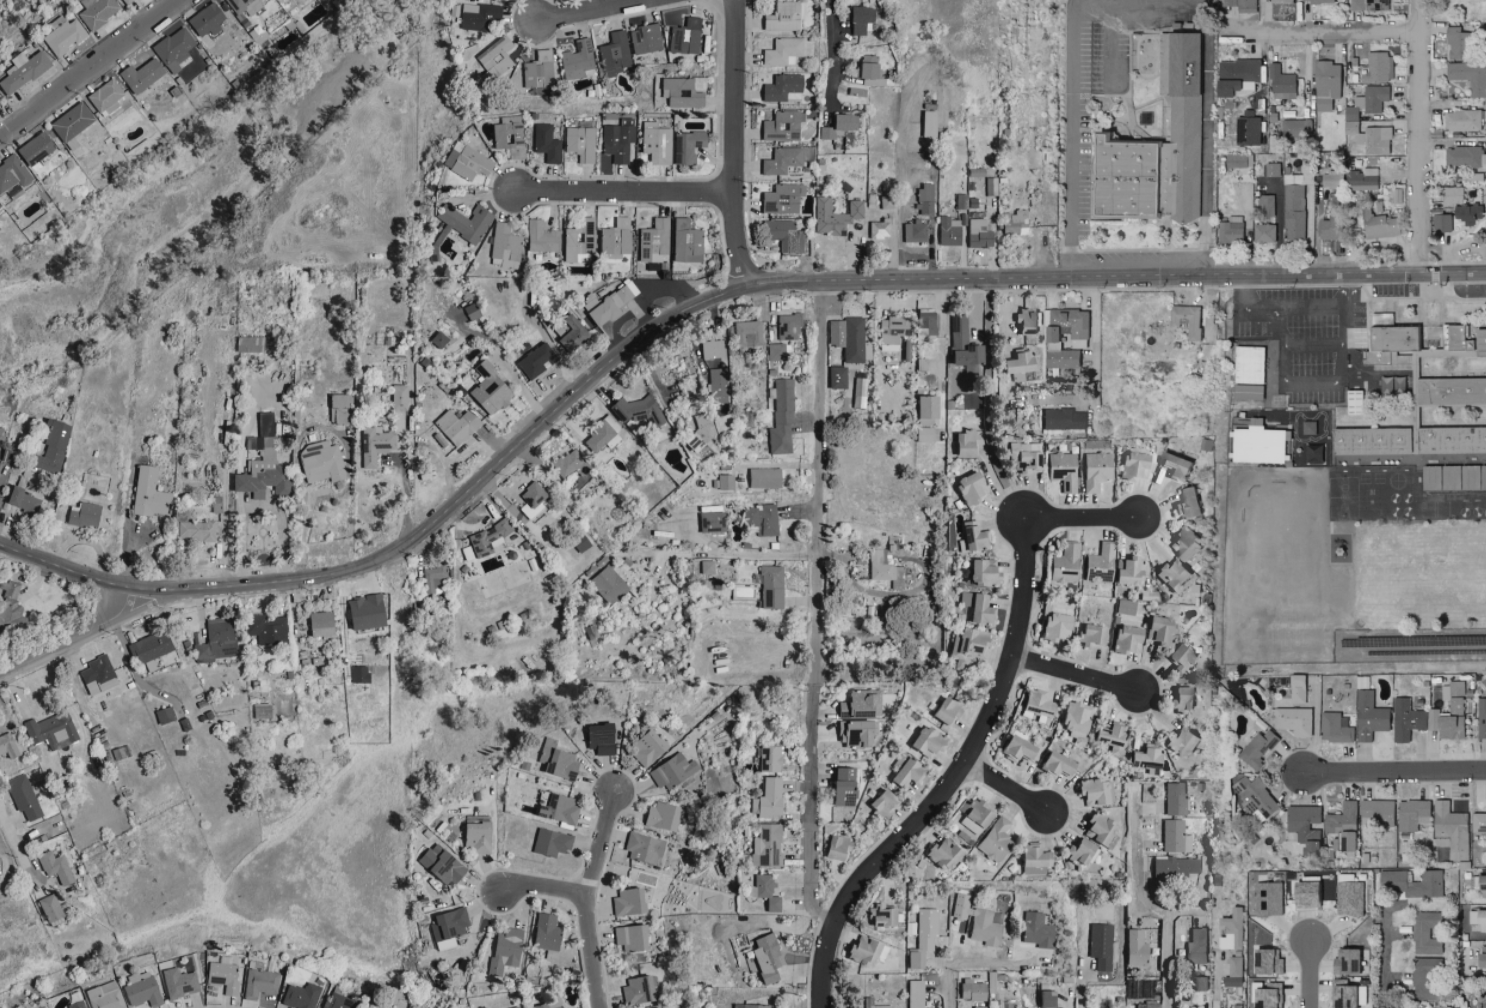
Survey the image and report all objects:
building: (128, 1)
building: (1281, 1)
building: (1317, 1)
building: (1210, 2)
building: (1230, 2)
road: (1077, 3)
building: (239, 4)
road: (1140, 4)
building: (1369, 5)
building: (1246, 6)
building: (98, 12)
road: (593, 12)
building: (782, 16)
building: (481, 17)
building: (859, 18)
building: (207, 20)
road: (1322, 32)
building: (64, 35)
building: (685, 37)
building: (644, 38)
building: (1458, 43)
road: (1111, 48)
building: (175, 50)
building: (782, 51)
building: (614, 52)
road: (831, 57)
building: (495, 59)
building: (576, 59)
building: (866, 65)
road: (89, 66)
building: (1376, 67)
building: (23, 72)
building: (537, 74)
building: (143, 76)
building: (1236, 76)
building: (1469, 76)
building: (696, 82)
building: (1280, 83)
building: (1325, 84)
building: (781, 87)
building: (676, 91)
building: (107, 98)
building: (1367, 102)
building: (1462, 120)
building: (74, 124)
building: (837, 125)
building: (781, 126)
building: (1296, 128)
building: (1247, 130)
building: (1179, 133)
building: (508, 135)
building: (1369, 137)
road: (1420, 137)
building: (616, 141)
building: (578, 142)
road: (1073, 142)
building: (544, 143)
building: (654, 144)
road: (729, 144)
building: (687, 146)
building: (38, 149)
building: (1463, 156)
road: (1208, 157)
building: (779, 160)
building: (463, 161)
building: (1238, 161)
building: (1272, 169)
building: (14, 174)
building: (1303, 175)
building: (1119, 176)
building: (1349, 180)
road: (621, 193)
building: (780, 198)
building: (924, 198)
building: (1267, 205)
building: (1460, 205)
building: (1294, 211)
building: (833, 215)
building: (463, 221)
building: (1014, 222)
building: (1441, 222)
building: (1377, 225)
building: (877, 228)
building: (1332, 229)
building: (947, 230)
building: (1230, 230)
building: (912, 231)
building: (977, 233)
building: (1264, 233)
building: (781, 235)
building: (561, 239)
building: (614, 239)
building: (653, 240)
building: (685, 241)
building: (504, 245)
building: (600, 304)
road: (693, 304)
road: (1311, 309)
building: (1185, 320)
building: (925, 321)
building: (1023, 322)
building: (787, 325)
road: (942, 327)
building: (891, 329)
building: (567, 331)
building: (745, 333)
building: (1077, 336)
building: (846, 337)
building: (1465, 339)
building: (959, 342)
building: (1388, 342)
building: (249, 344)
road: (1314, 345)
building: (709, 348)
building: (778, 351)
road: (497, 353)
building: (534, 359)
building: (1013, 362)
road: (1095, 362)
building: (1249, 364)
building: (835, 377)
road: (1296, 384)
building: (486, 390)
building: (1450, 391)
building: (1247, 392)
building: (397, 396)
building: (1353, 402)
road: (985, 404)
building: (924, 406)
building: (343, 408)
building: (634, 410)
building: (780, 419)
building: (1061, 419)
building: (267, 422)
building: (454, 425)
building: (1308, 428)
building: (598, 433)
building: (922, 434)
building: (1451, 440)
building: (1370, 441)
building: (962, 442)
building: (1205, 444)
building: (1258, 444)
building: (375, 445)
building: (53, 447)
building: (1313, 454)
building: (1026, 456)
building: (323, 461)
building: (565, 462)
building: (1131, 465)
building: (1171, 465)
building: (1061, 468)
building: (1093, 470)
building: (265, 471)
building: (761, 477)
building: (1453, 477)
building: (723, 481)
road: (818, 482)
road: (996, 485)
building: (967, 487)
building: (150, 493)
building: (528, 494)
road: (406, 495)
building: (24, 500)
building: (1185, 503)
road: (225, 508)
building: (86, 514)
building: (759, 518)
road: (1084, 518)
building: (712, 521)
building: (197, 530)
road: (301, 532)
building: (969, 536)
building: (578, 541)
building: (1184, 542)
road: (751, 554)
building: (1062, 563)
building: (1098, 563)
building: (877, 566)
building: (1124, 571)
building: (978, 572)
building: (1170, 573)
building: (431, 578)
building: (607, 584)
building: (769, 586)
building: (10, 589)
building: (1124, 606)
building: (973, 607)
building: (369, 611)
building: (323, 623)
building: (1052, 626)
building: (268, 629)
building: (1156, 630)
road: (95, 632)
building: (1088, 634)
building: (1124, 639)
building: (217, 640)
building: (964, 644)
building: (153, 646)
building: (1178, 657)
road: (1459, 665)
building: (361, 674)
road: (1077, 674)
building: (99, 675)
building: (1296, 689)
building: (1179, 698)
building: (859, 702)
building: (1033, 703)
building: (263, 710)
building: (942, 710)
building: (1456, 712)
road: (3, 714)
building: (166, 715)
building: (1369, 717)
building: (1073, 718)
building: (1481, 718)
building: (1405, 720)
building: (1292, 721)
building: (1334, 729)
building: (53, 731)
building: (1108, 736)
building: (596, 738)
building: (1182, 741)
building: (922, 742)
road: (977, 744)
building: (8, 746)
building: (643, 747)
building: (1012, 748)
building: (1257, 749)
building: (1143, 756)
building: (771, 759)
building: (555, 760)
building: (1052, 764)
building: (670, 770)
road: (1397, 771)
building: (840, 786)
road: (1009, 787)
building: (1092, 791)
building: (1255, 795)
building: (24, 796)
building: (766, 798)
building: (1173, 799)
building: (879, 803)
road: (811, 807)
building: (556, 808)
building: (1376, 812)
building: (1412, 815)
building: (660, 816)
building: (973, 817)
building: (1478, 823)
building: (1304, 828)
building: (1094, 829)
building: (1342, 829)
building: (1451, 830)
building: (1173, 836)
building: (479, 837)
building: (993, 838)
building: (549, 842)
building: (764, 846)
building: (832, 846)
road: (14, 847)
building: (640, 847)
building: (1076, 850)
building: (940, 853)
building: (1030, 857)
road: (7, 864)
building: (444, 865)
building: (57, 867)
building: (1172, 867)
building: (1409, 883)
building: (1481, 885)
road: (542, 888)
building: (762, 891)
building: (1304, 895)
road: (586, 896)
building: (1267, 899)
building: (1348, 899)
building: (625, 901)
building: (52, 908)
road: (1155, 909)
building: (880, 915)
building: (1478, 919)
building: (450, 925)
building: (982, 928)
building: (1035, 930)
building: (1231, 930)
building: (1426, 934)
building: (549, 935)
building: (922, 937)
building: (627, 938)
building: (446, 944)
building: (1099, 945)
building: (1133, 947)
building: (1194, 947)
building: (858, 950)
building: (1481, 957)
building: (763, 958)
road: (963, 962)
building: (1265, 962)
building: (1345, 962)
road: (1391, 962)
road: (821, 965)
building: (1233, 973)
road: (1309, 973)
building: (225, 977)
building: (1425, 979)
building: (180, 982)
building: (261, 983)
building: (1197, 984)
building: (143, 989)
building: (637, 989)
building: (1143, 989)
building: (970, 990)
road: (1081, 993)
building: (913, 994)
building: (1346, 994)
building: (1266, 995)
building: (106, 996)
building: (302, 996)
building: (1042, 999)
building: (338, 1001)
building: (868, 1001)
building: (78, 1004)
building: (1146, 1005)
building: (543, 1006)
building: (747, 1006)
building: (1237, 1006)
building: (519, 1007)
building: (561, 1007)
building: (976, 1007)
building: (1185, 1007)

